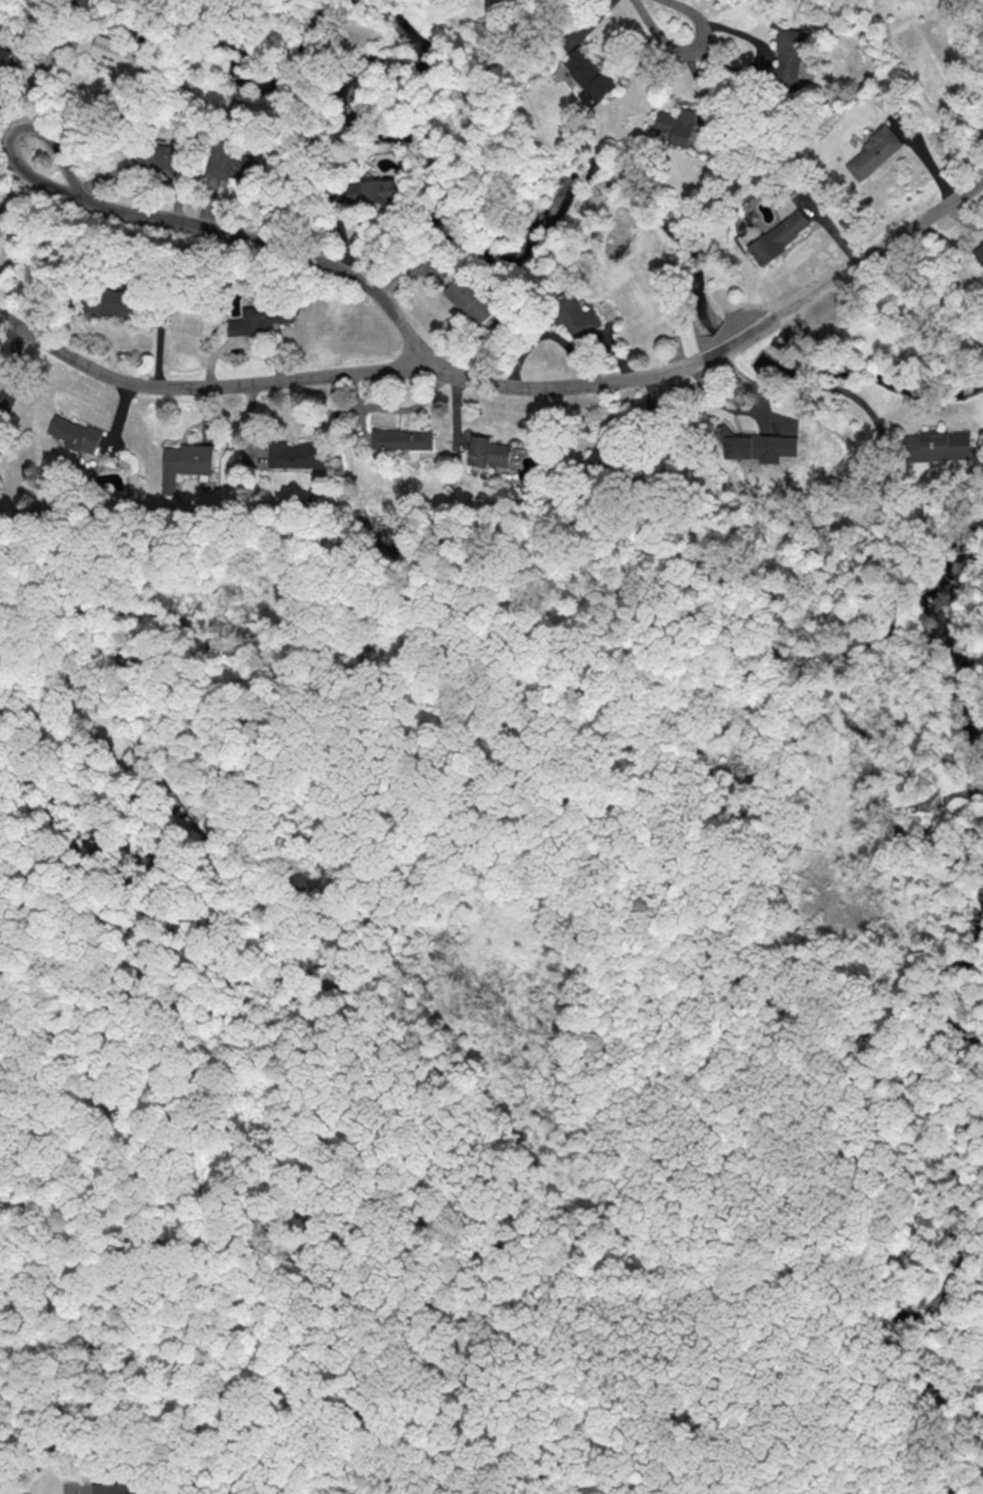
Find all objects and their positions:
road: (664, 14)
building: (112, 52)
building: (3, 58)
building: (787, 59)
building: (587, 76)
road: (41, 79)
river: (245, 85)
road: (5, 112)
road: (32, 117)
building: (677, 125)
building: (872, 153)
building: (154, 155)
river: (560, 183)
building: (374, 191)
building: (2, 219)
building: (779, 236)
road: (881, 249)
road: (307, 251)
building: (979, 252)
building: (472, 299)
building: (112, 303)
building: (575, 315)
road: (740, 340)
road: (346, 374)
road: (785, 387)
building: (75, 434)
building: (404, 439)
building: (933, 448)
building: (491, 452)
building: (296, 454)
building: (600, 458)
building: (185, 463)
river: (945, 624)
road: (531, 687)
road: (976, 695)
river: (888, 822)
road: (658, 983)
river: (941, 983)
park: (499, 993)
road: (975, 1198)
road: (824, 1247)
road: (636, 1257)
river: (919, 1276)
road: (853, 1283)
road: (849, 1304)
road: (85, 1359)
road: (781, 1369)
road: (886, 1400)
road: (435, 1429)
river: (963, 1477)
building: (118, 1488)
road: (70, 1490)

